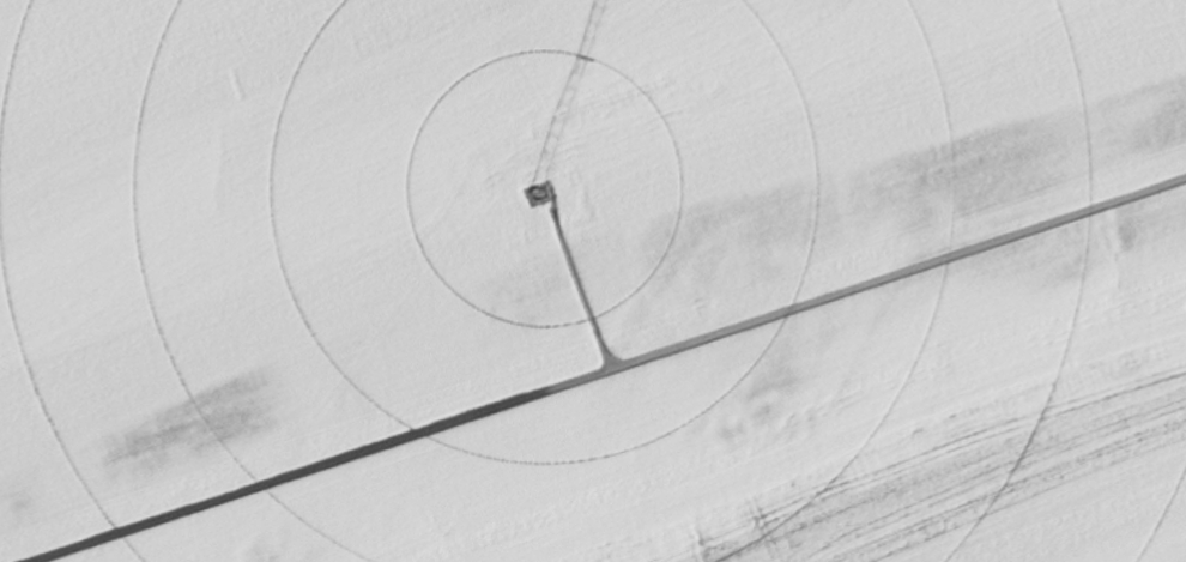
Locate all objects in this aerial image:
road: (591, 352)

